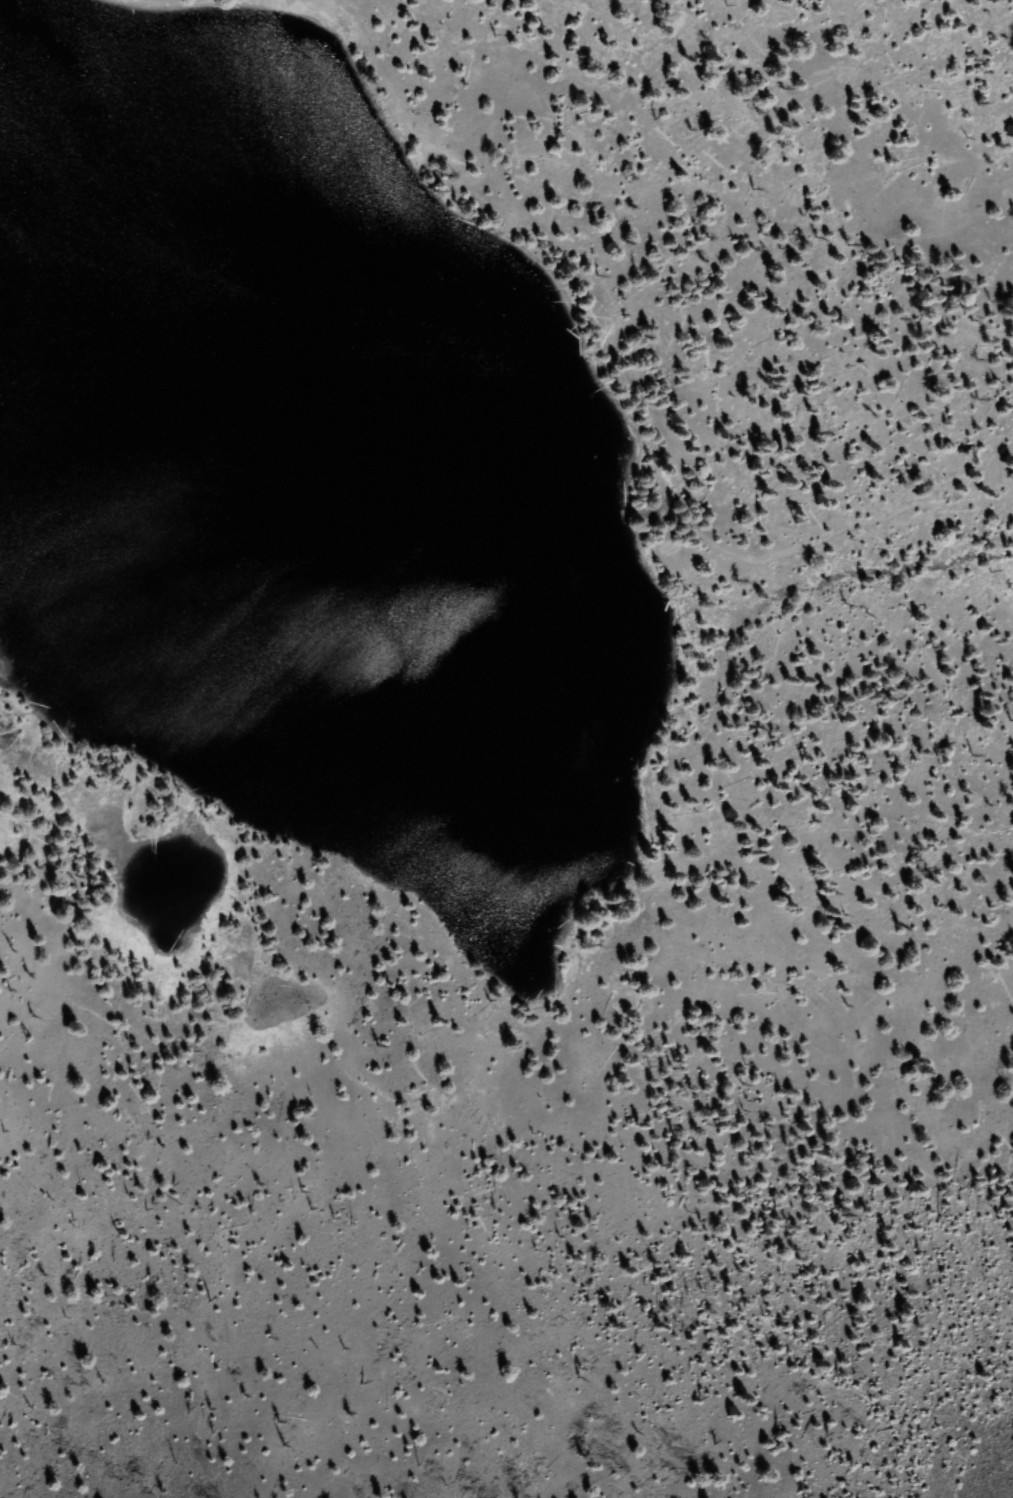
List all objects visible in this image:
road: (785, 236)
road: (613, 263)
road: (897, 512)

